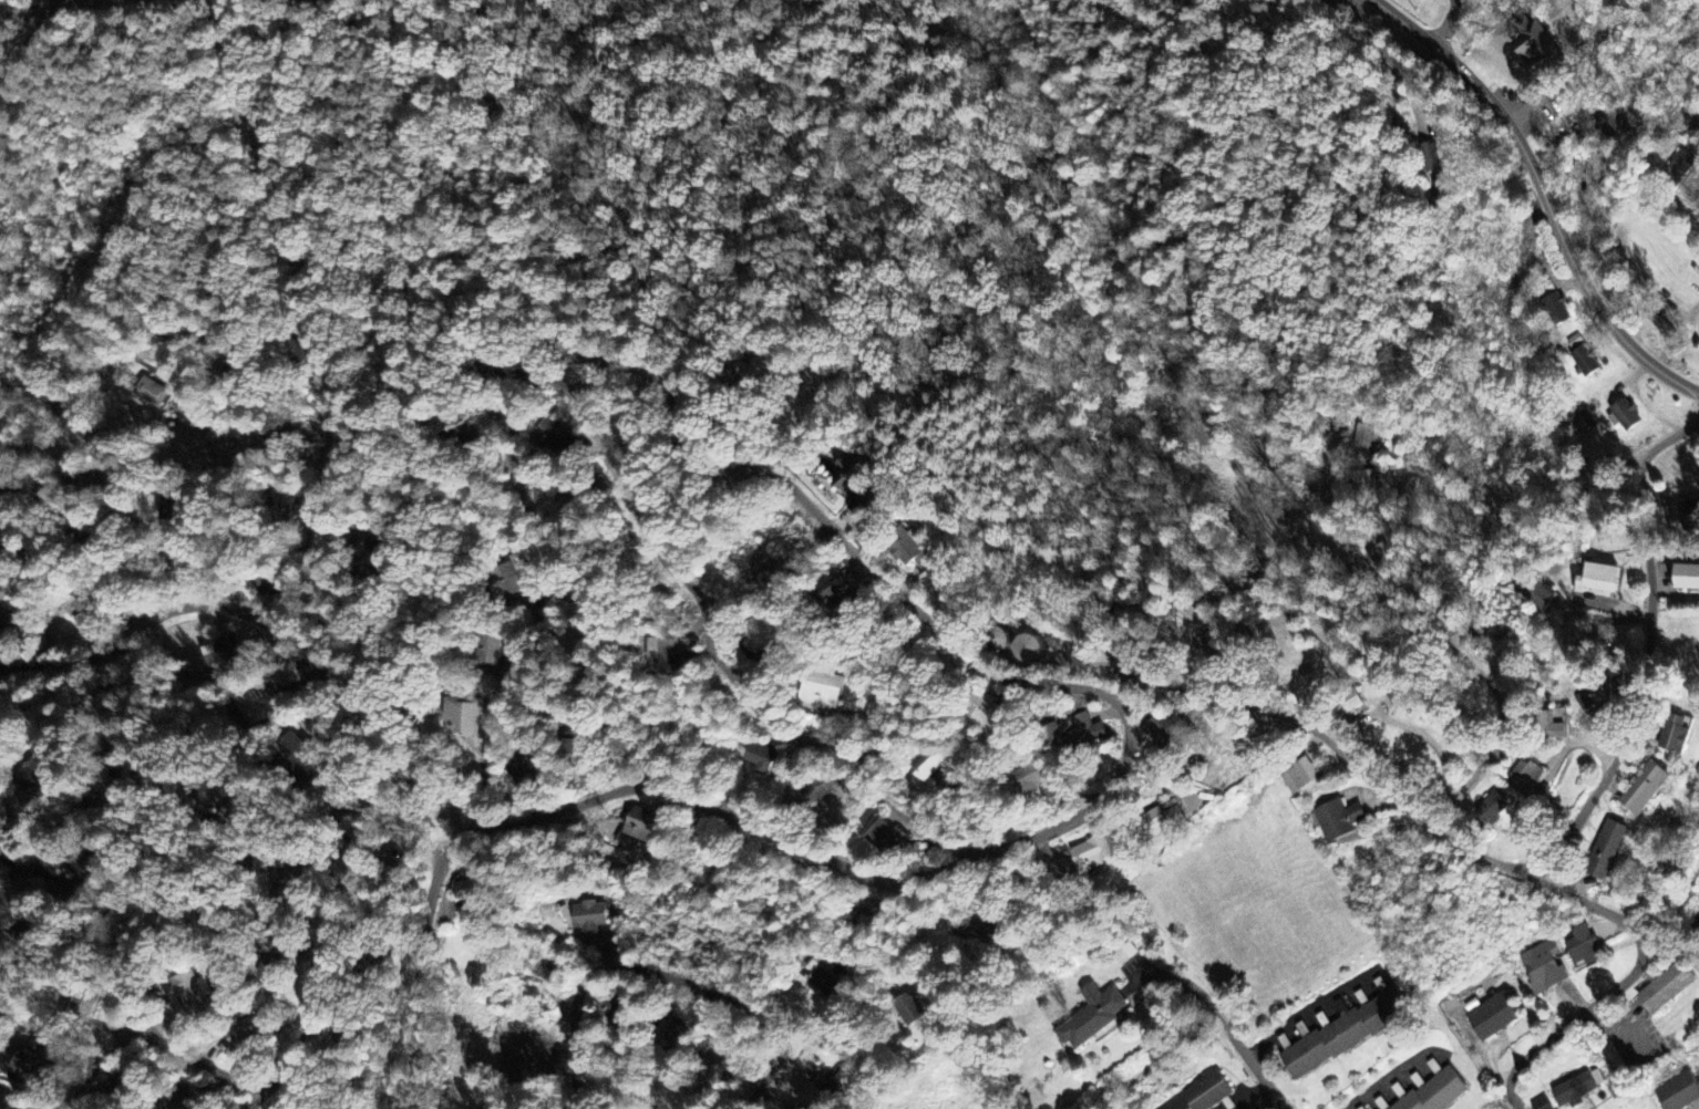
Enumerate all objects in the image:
road: (28, 43)
building: (1537, 51)
building: (1430, 157)
building: (1589, 164)
building: (1679, 168)
building: (1593, 177)
road: (1542, 194)
road: (1688, 213)
building: (1555, 310)
building: (303, 349)
building: (581, 353)
building: (1580, 353)
building: (151, 393)
building: (1624, 416)
building: (621, 423)
building: (1580, 423)
building: (1366, 435)
building: (554, 438)
road: (598, 442)
building: (852, 471)
building: (739, 476)
road: (119, 490)
building: (284, 500)
building: (1689, 515)
road: (319, 545)
building: (913, 551)
building: (381, 557)
building: (1687, 578)
building: (1598, 580)
building: (509, 581)
building: (264, 584)
building: (1535, 592)
building: (831, 600)
building: (83, 610)
building: (1191, 615)
building: (4, 622)
road: (268, 623)
building: (761, 633)
road: (1648, 647)
building: (1028, 649)
building: (492, 651)
building: (671, 654)
road: (1465, 661)
building: (207, 665)
building: (824, 688)
building: (1589, 699)
building: (250, 707)
building: (1348, 708)
building: (986, 714)
building: (1167, 727)
building: (1554, 728)
building: (1053, 733)
building: (1676, 734)
building: (1084, 735)
building: (575, 745)
building: (298, 755)
building: (762, 758)
building: (929, 766)
road: (1057, 771)
building: (528, 774)
building: (33, 775)
building: (1301, 778)
building: (1032, 779)
building: (1528, 780)
building: (1645, 789)
building: (1492, 809)
building: (1173, 816)
building: (1339, 820)
building: (1154, 823)
building: (641, 828)
road: (49, 835)
building: (888, 839)
building: (2, 847)
building: (1606, 850)
building: (1092, 854)
road: (1484, 856)
building: (81, 864)
road: (954, 864)
building: (3, 872)
building: (465, 891)
building: (1698, 909)
building: (588, 916)
building: (862, 920)
road: (161, 924)
building: (987, 929)
building: (1583, 949)
road: (323, 953)
building: (270, 964)
building: (540, 967)
building: (1544, 968)
road: (668, 976)
building: (823, 984)
building: (1667, 988)
building: (187, 992)
building: (909, 1009)
building: (614, 1012)
building: (1091, 1017)
building: (1493, 1017)
building: (241, 1033)
building: (1345, 1034)
building: (672, 1036)
road: (198, 1060)
road: (1253, 1060)
building: (28, 1067)
road: (94, 1069)
building: (843, 1079)
building: (1577, 1088)
building: (1434, 1091)
building: (1679, 1092)
building: (1207, 1097)
road: (16, 1099)
building: (168, 1099)
road: (255, 1101)

